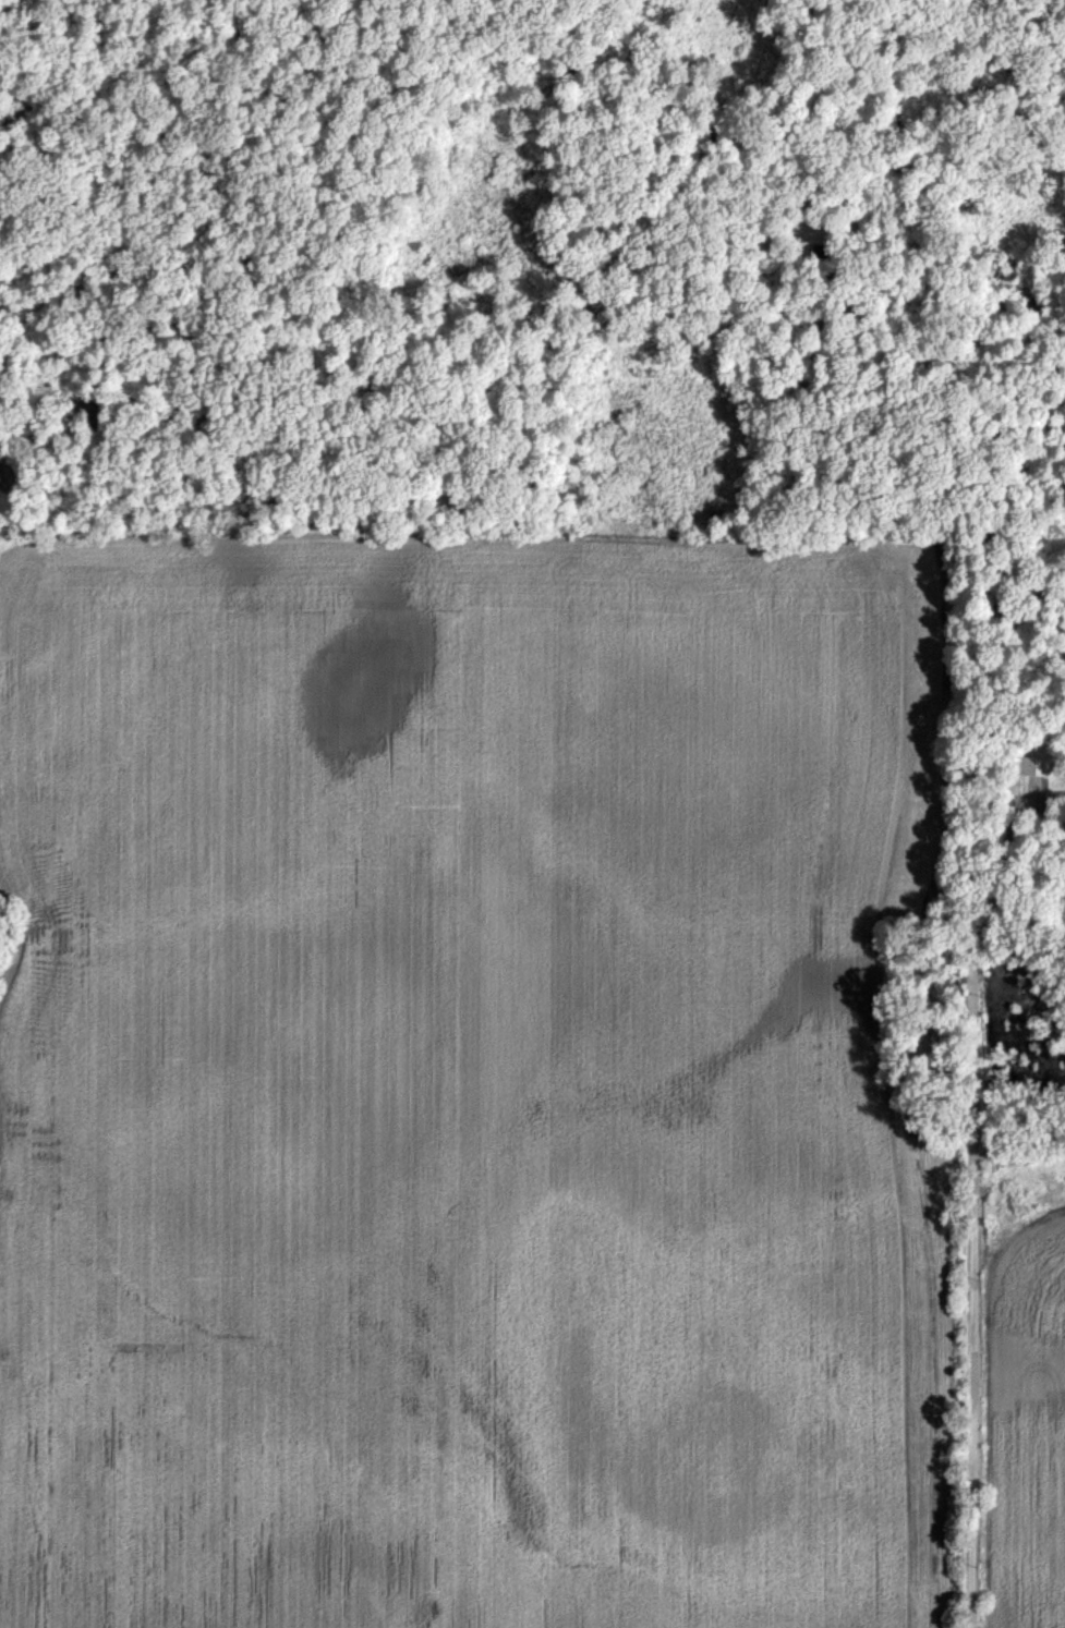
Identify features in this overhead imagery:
crop: (36, 3)
building: (1036, 765)
crop: (505, 1095)
road: (970, 1189)

